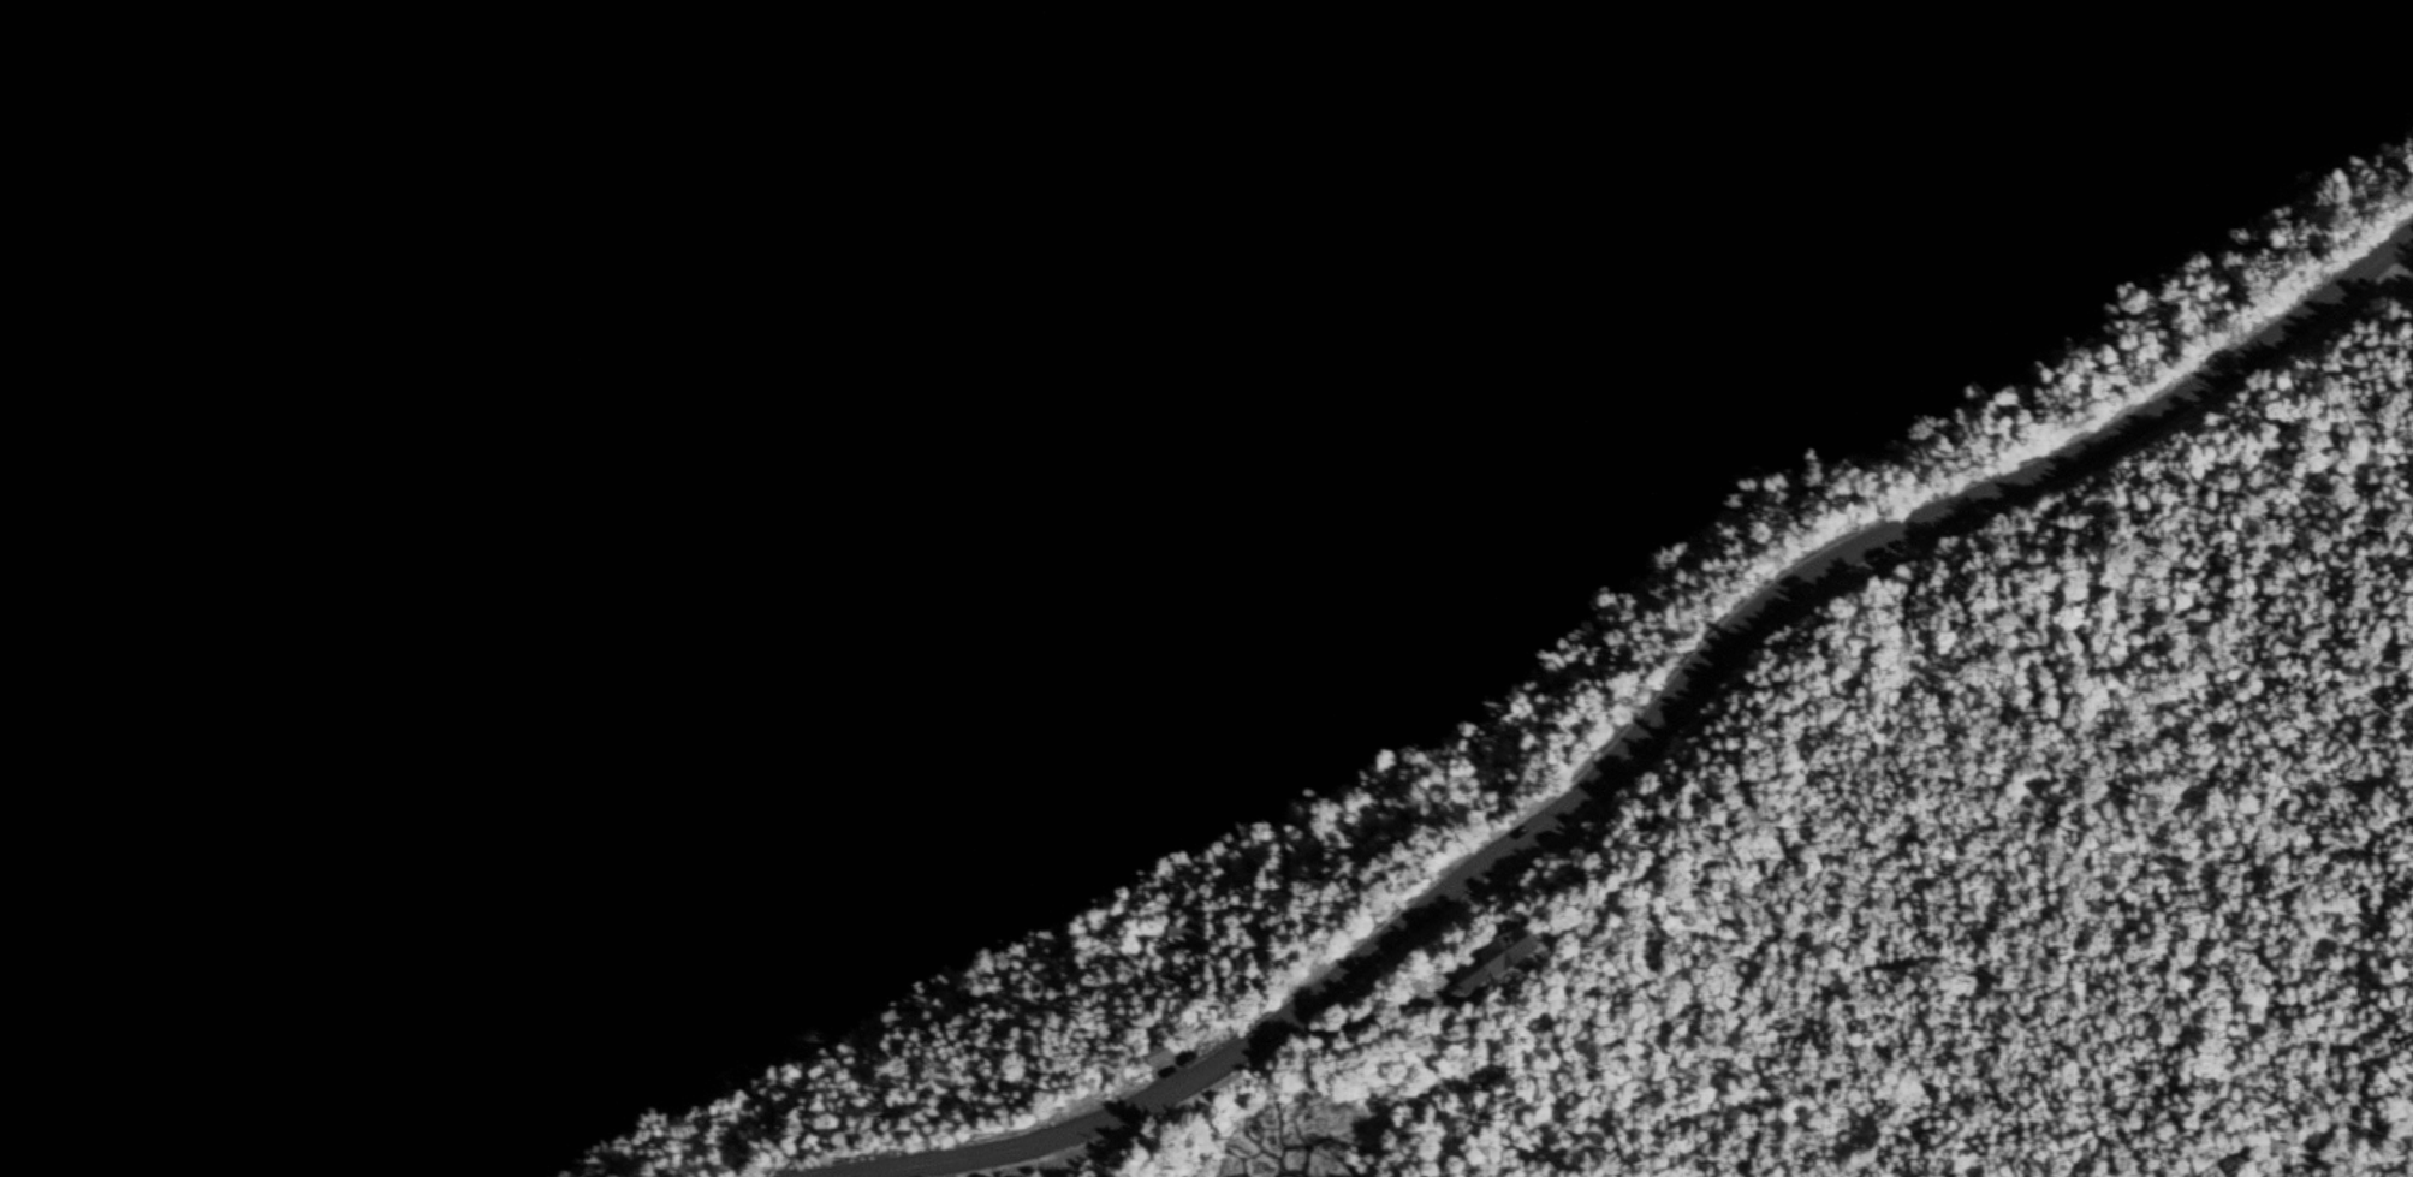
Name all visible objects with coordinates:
road: (1642, 731)
building: (1494, 964)

